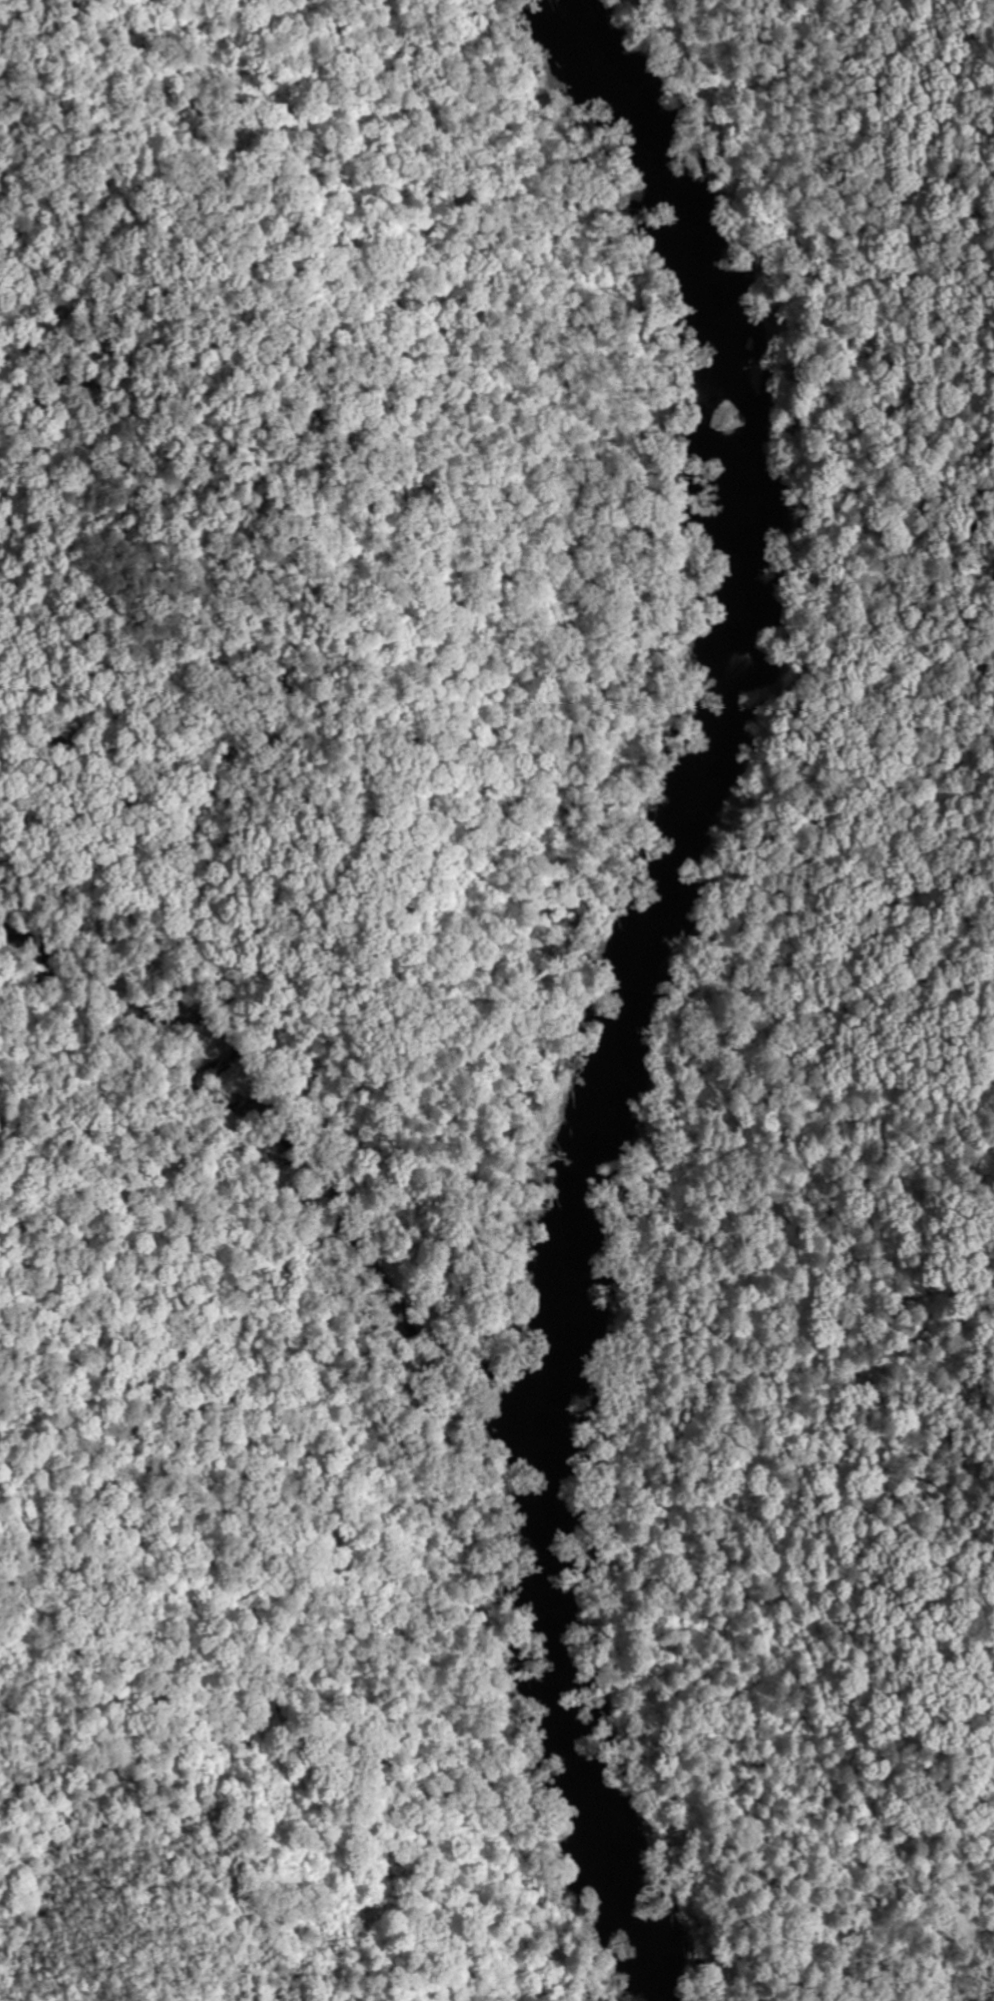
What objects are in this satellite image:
river: (615, 986)

